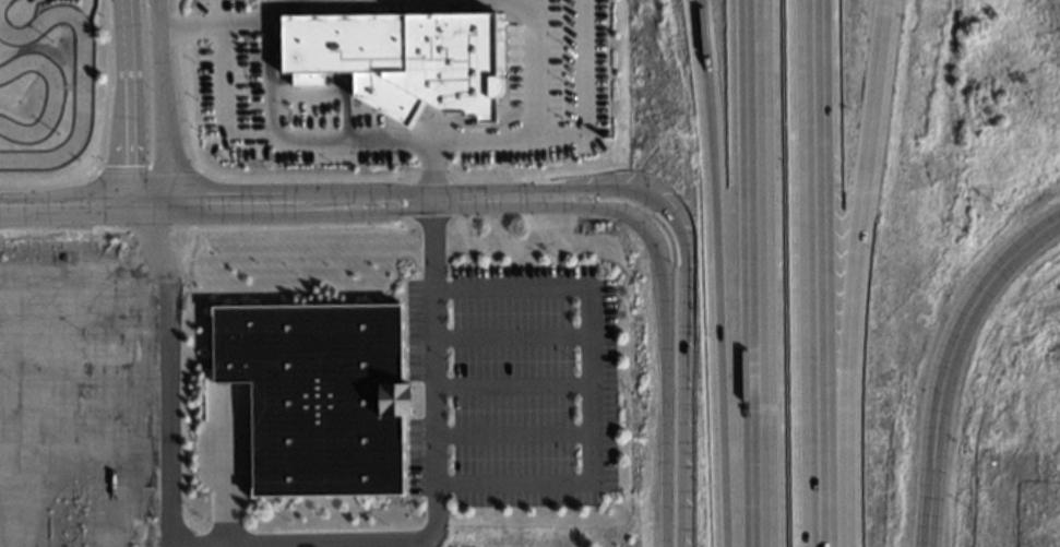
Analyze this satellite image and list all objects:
road: (83, 4)
road: (246, 19)
building: (395, 58)
road: (269, 62)
raceway: (79, 75)
road: (585, 90)
theme park: (52, 91)
raceway: (50, 93)
road: (126, 105)
road: (159, 105)
road: (529, 115)
road: (320, 204)
road: (1025, 248)
road: (719, 273)
road: (755, 273)
road: (807, 273)
road: (850, 273)
road: (511, 336)
road: (675, 367)
road: (586, 383)
road: (511, 384)
parking lot: (521, 387)
building: (313, 394)
road: (940, 404)
road: (512, 433)
road: (437, 442)

